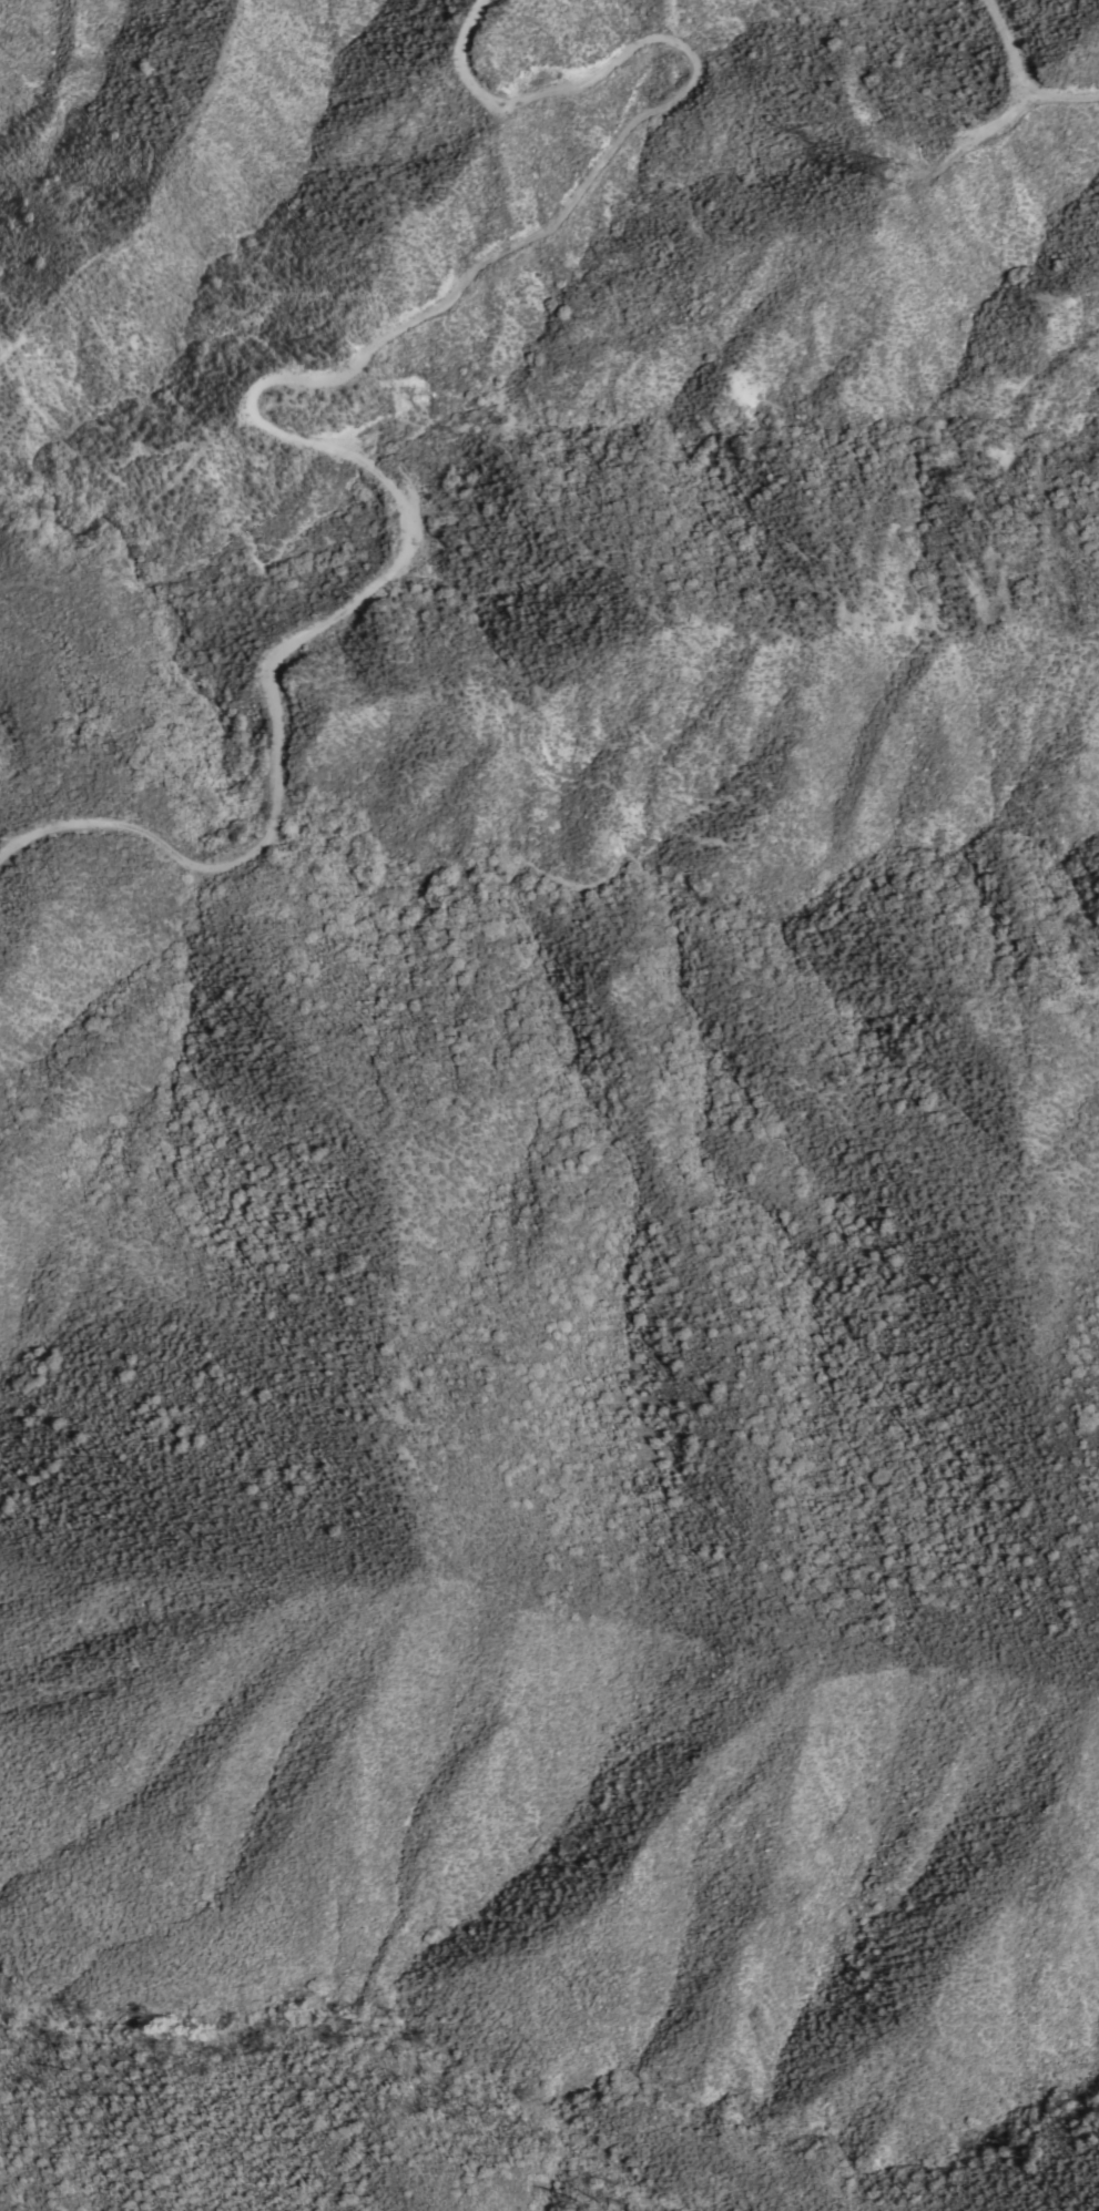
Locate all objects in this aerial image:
road: (1024, 75)
power tower: (897, 169)
road: (262, 383)

